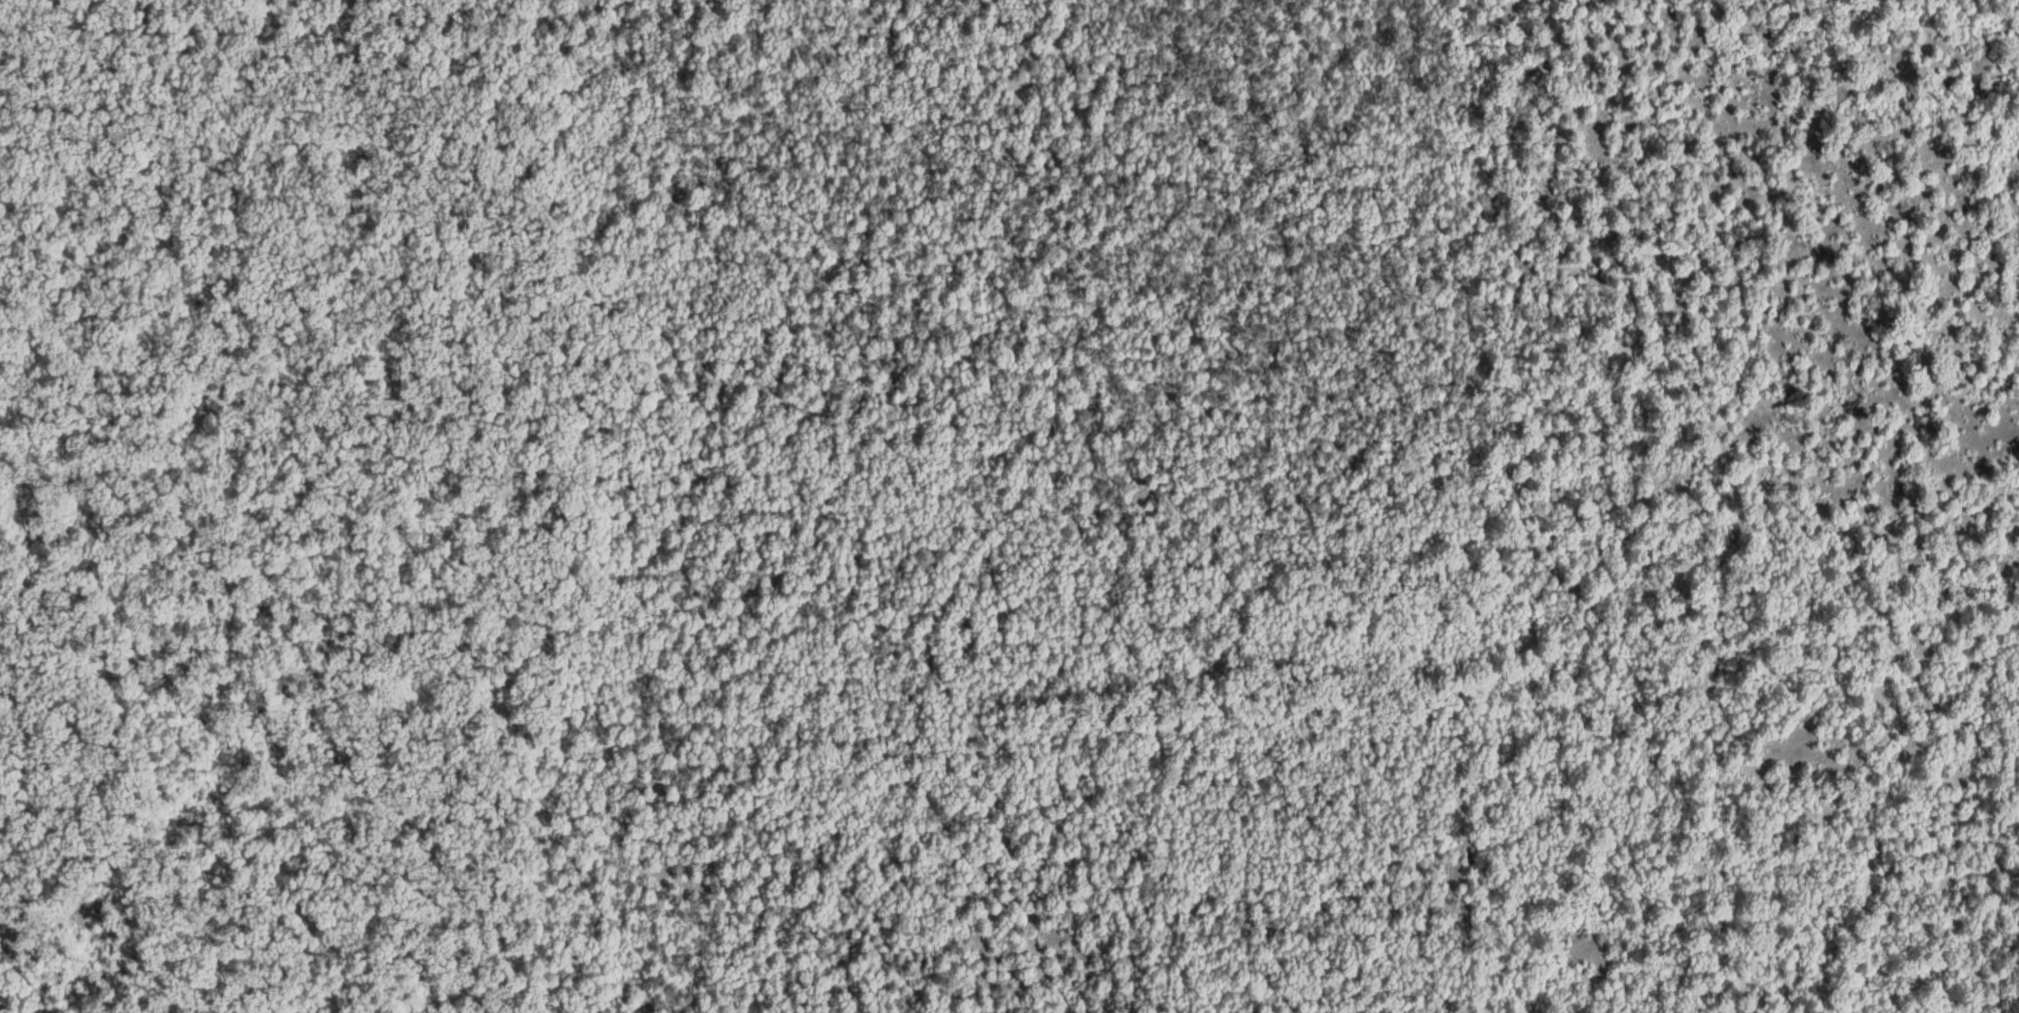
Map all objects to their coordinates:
road: (24, 981)

